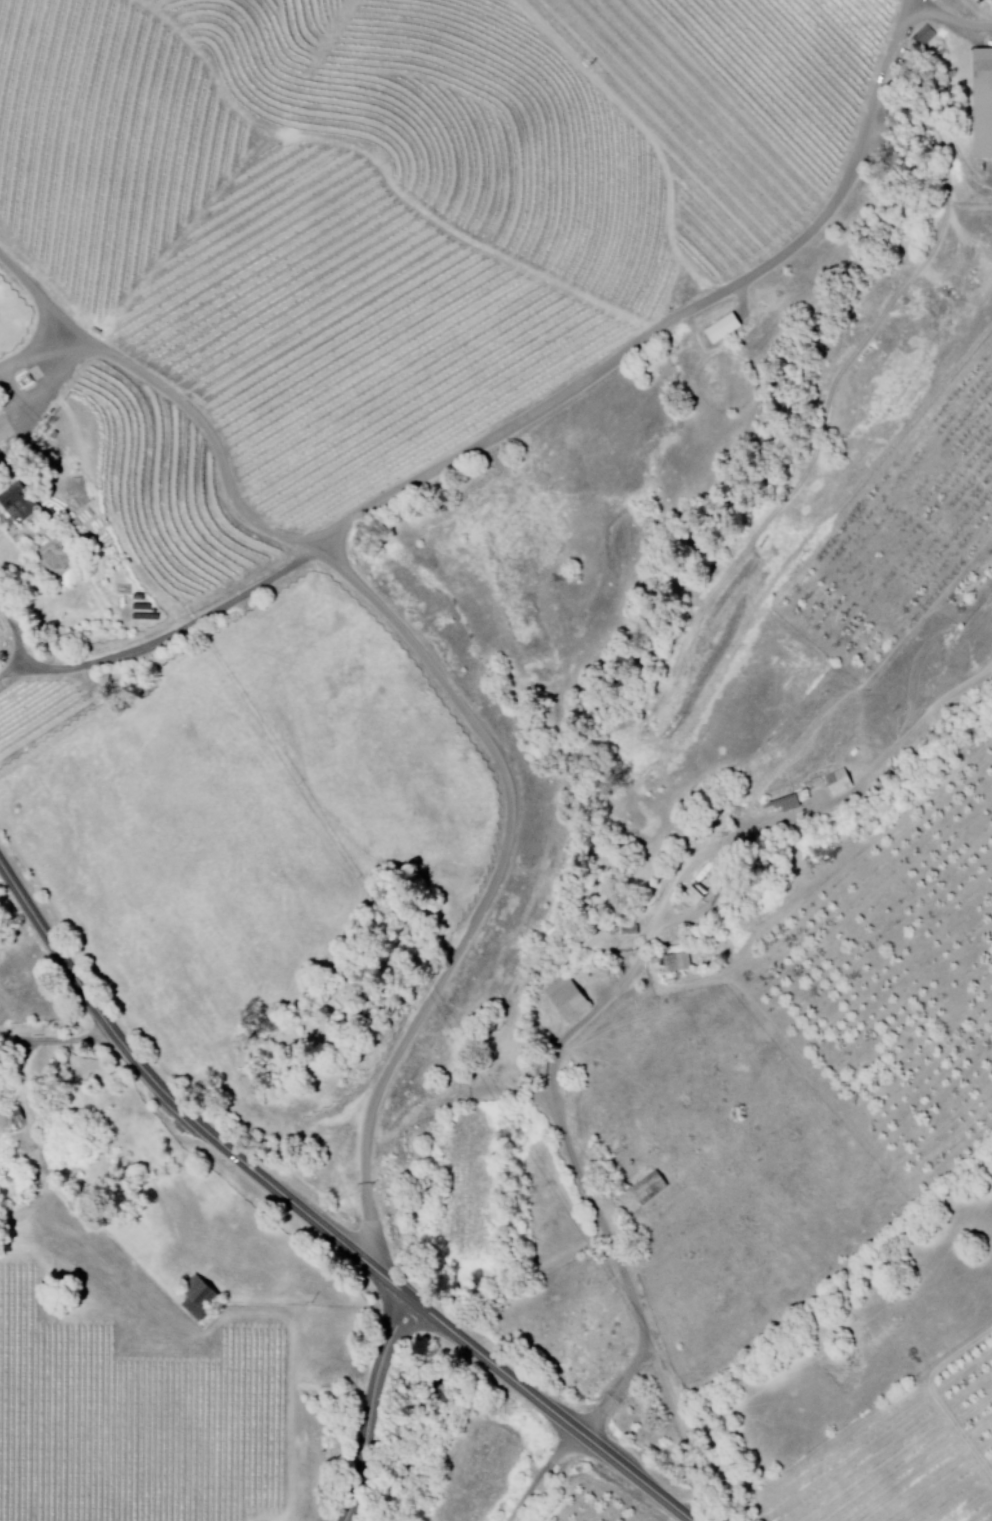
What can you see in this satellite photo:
building: (924, 36)
building: (979, 101)
building: (724, 328)
road: (439, 354)
building: (19, 502)
building: (833, 781)
building: (778, 803)
road: (15, 922)
building: (669, 962)
road: (673, 1108)
building: (649, 1187)
road: (315, 1219)
building: (199, 1297)
road: (368, 1409)

